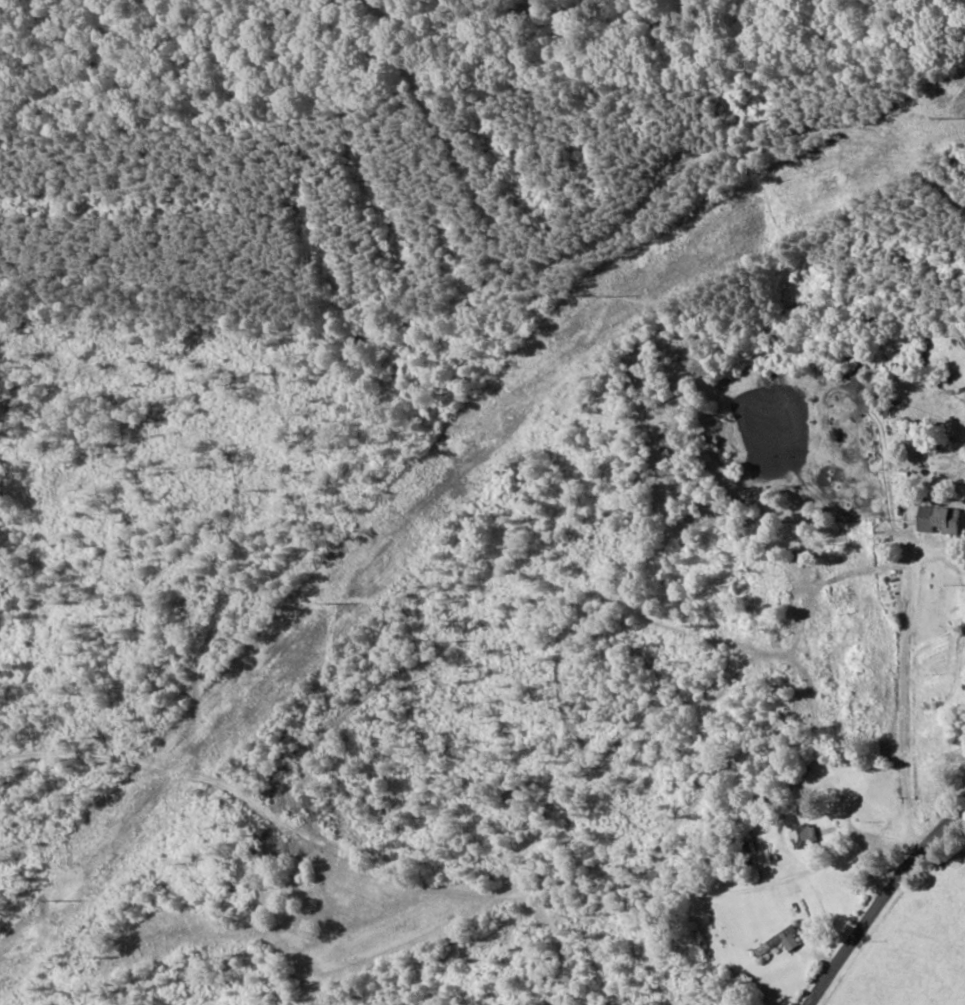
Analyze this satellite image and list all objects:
building: (937, 519)
building: (964, 688)
building: (801, 835)
building: (776, 941)
road: (909, 944)

